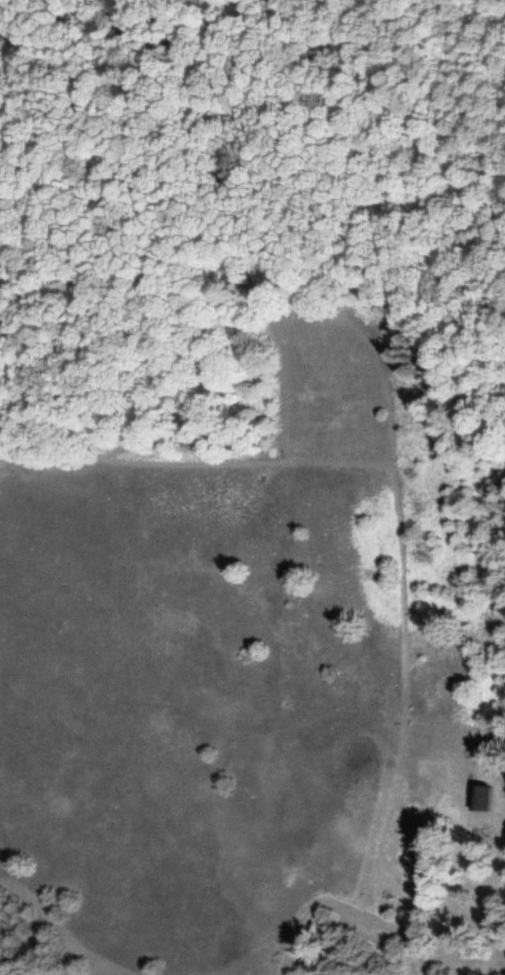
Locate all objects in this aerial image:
road: (368, 232)
road: (195, 242)
road: (14, 431)
road: (395, 492)
building: (478, 795)
road: (341, 914)
parking lot: (355, 922)
road: (146, 967)

